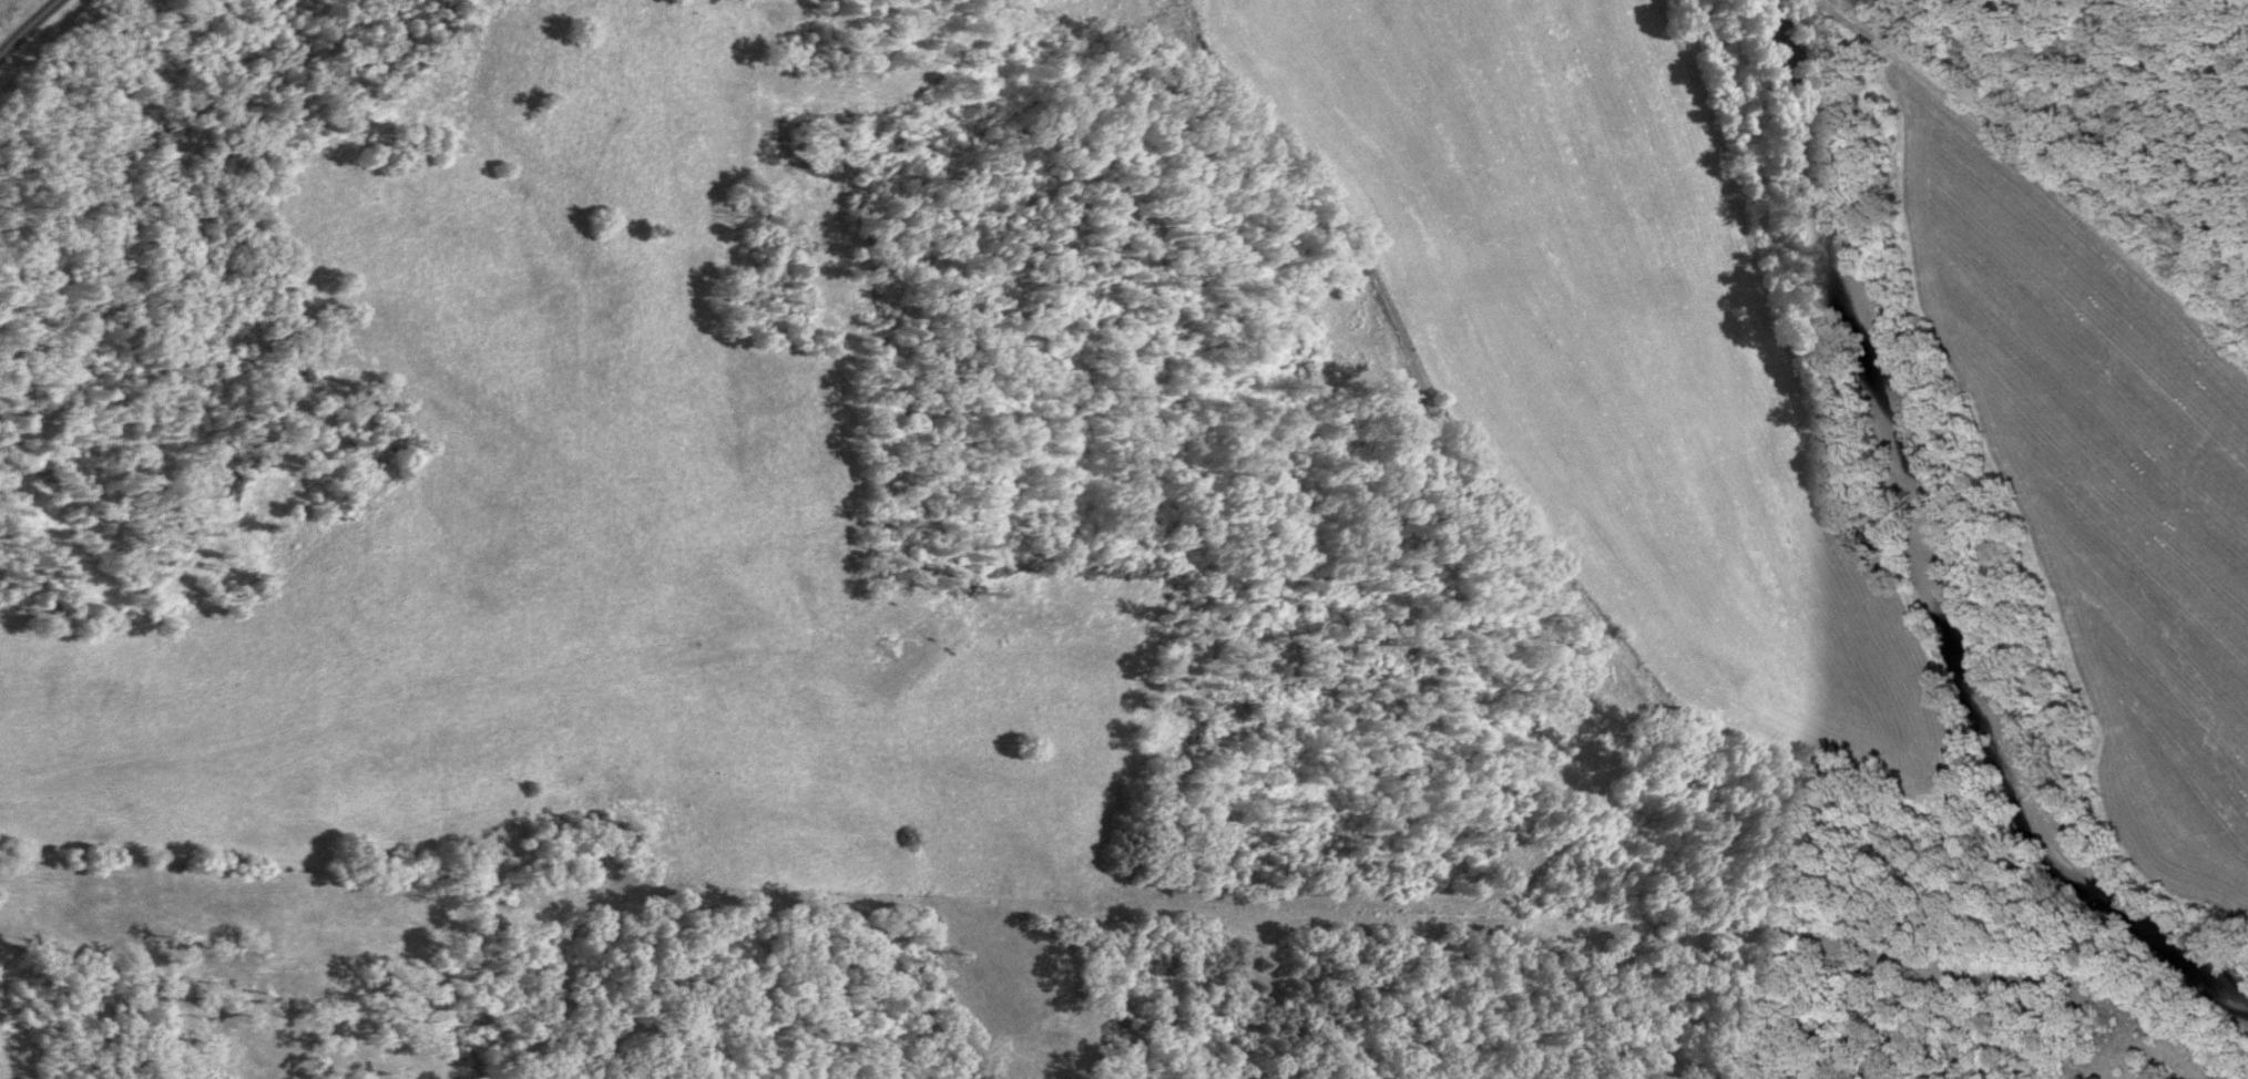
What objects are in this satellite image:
road: (23, 20)

